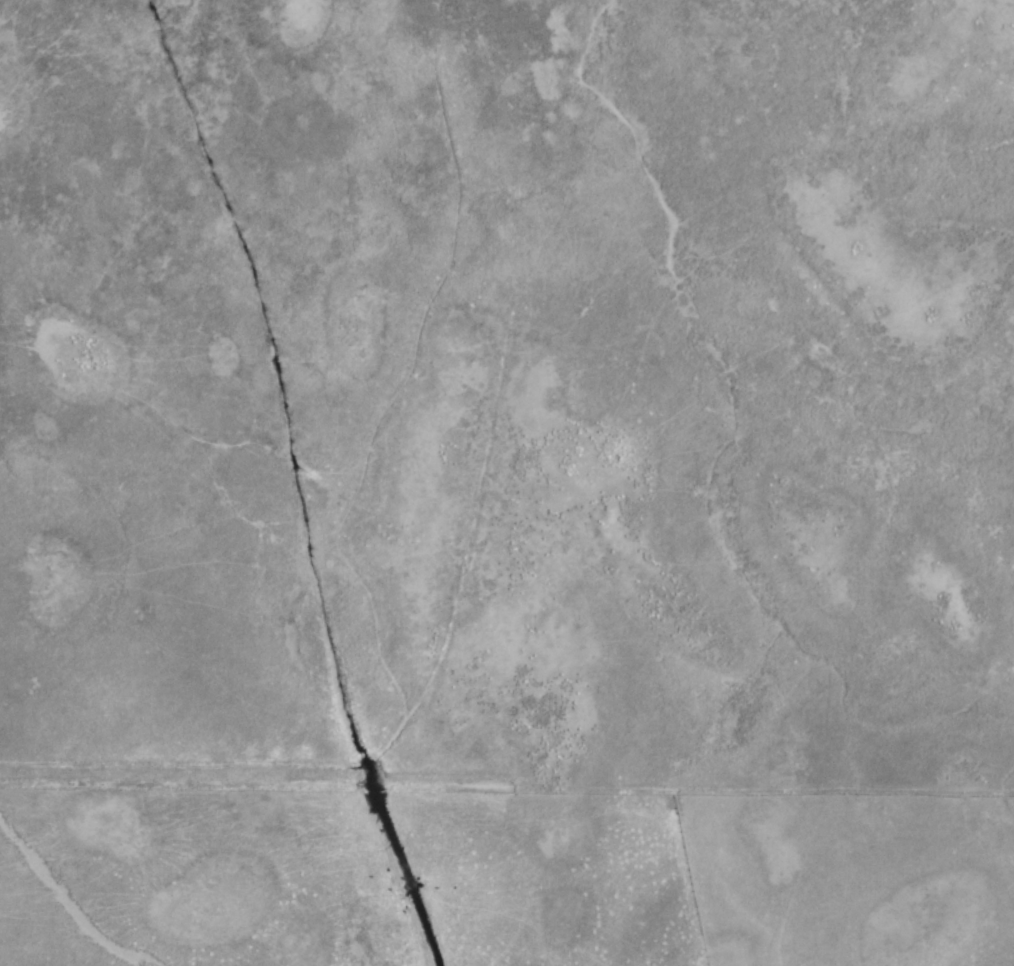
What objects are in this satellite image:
crop: (507, 483)

